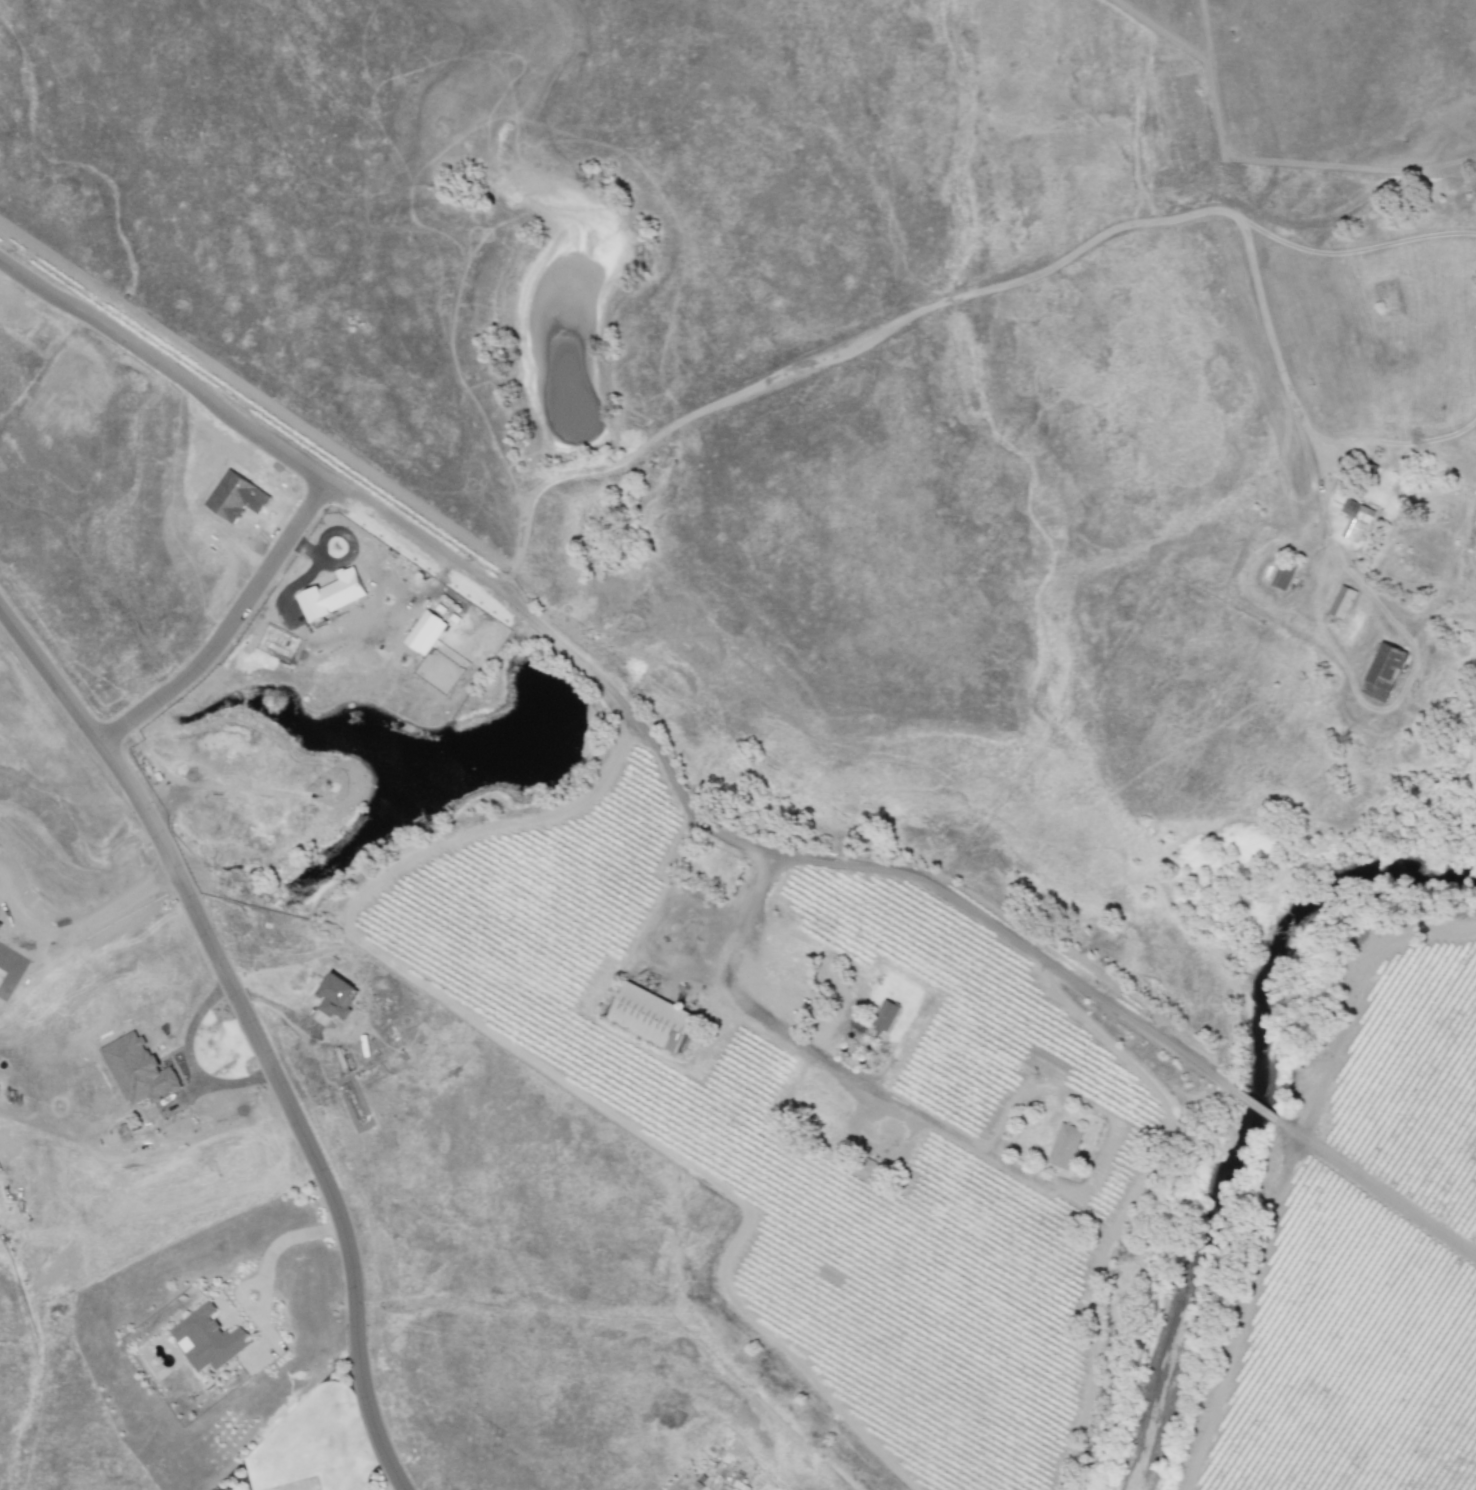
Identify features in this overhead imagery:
road: (950, 301)
road: (314, 471)
building: (1355, 520)
building: (1282, 577)
building: (333, 594)
building: (1341, 602)
road: (227, 623)
building: (425, 632)
building: (1383, 672)
road: (660, 749)
road: (5, 888)
road: (84, 934)
building: (335, 996)
building: (884, 1016)
building: (651, 1017)
road: (780, 1028)
road: (251, 1029)
road: (193, 1063)
building: (137, 1070)
building: (1064, 1146)
road: (279, 1241)
building: (209, 1339)
road: (394, 1484)

